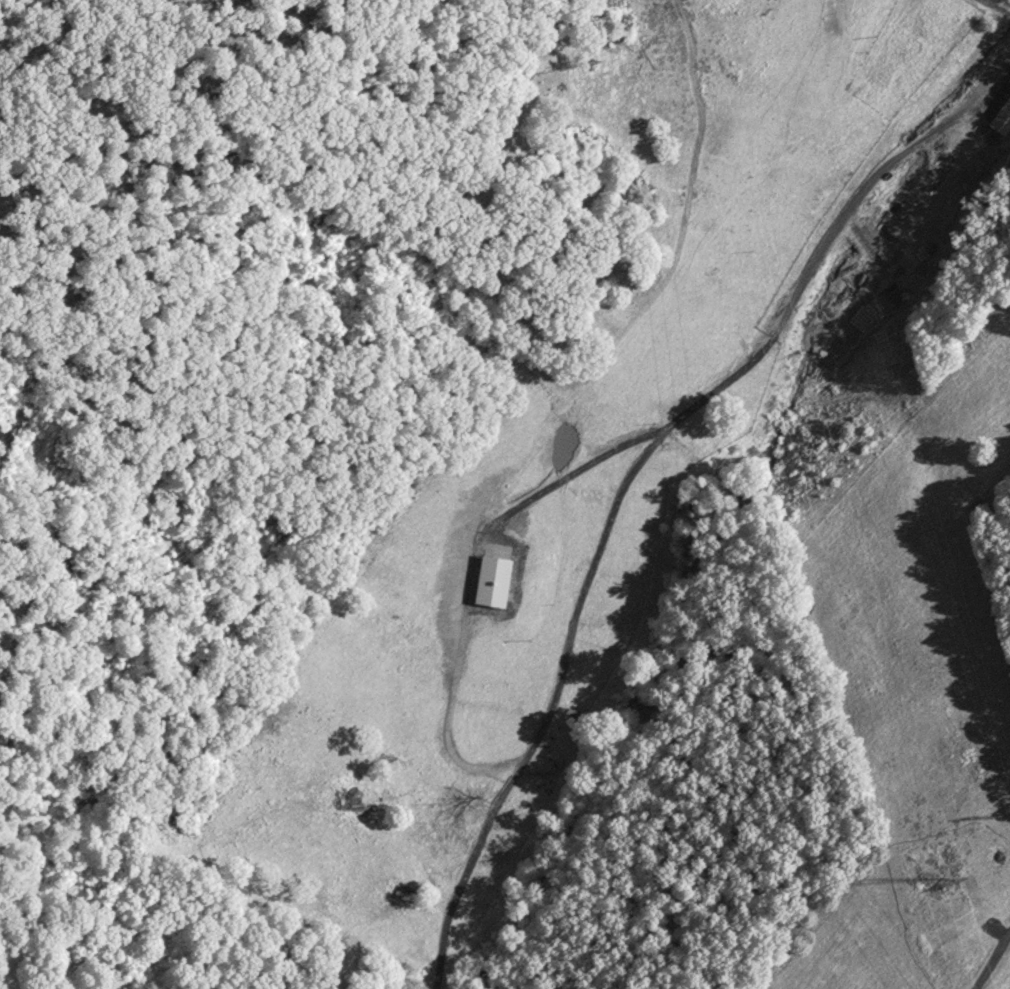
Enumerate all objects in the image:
road: (863, 188)
road: (563, 654)
power tower: (939, 881)
road: (1000, 976)

